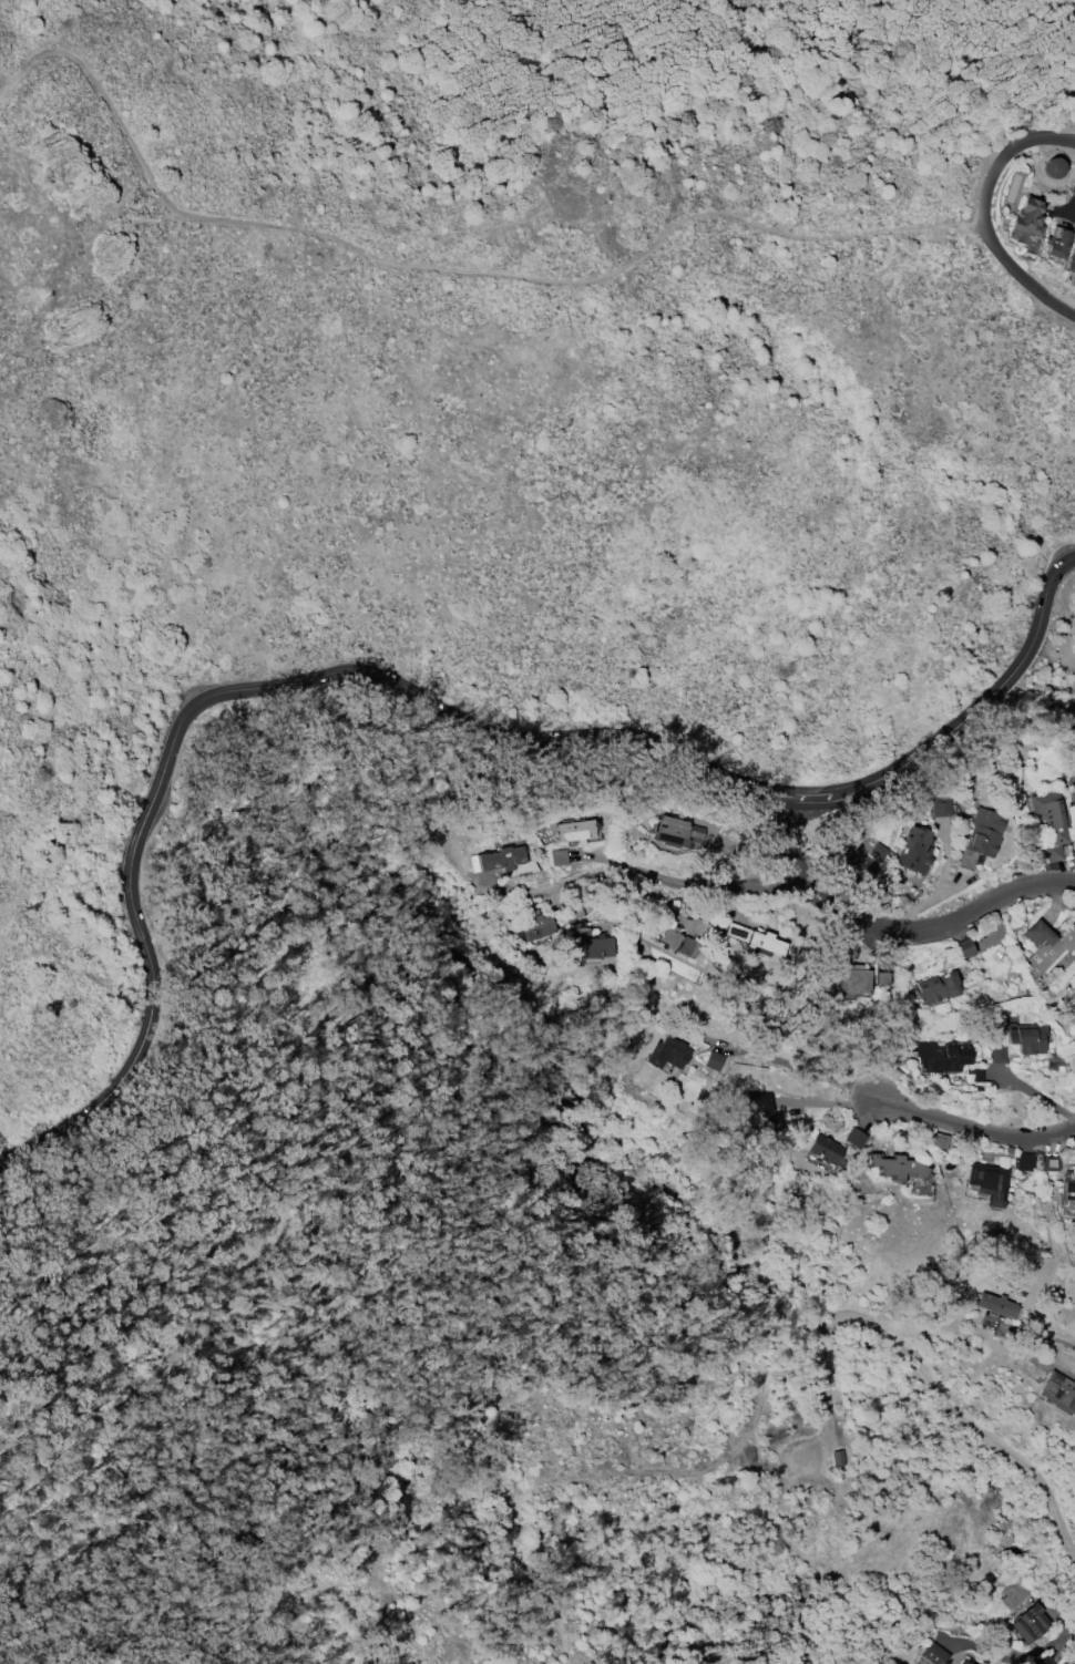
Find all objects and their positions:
road: (560, 21)
road: (7, 79)
road: (772, 92)
road: (999, 151)
building: (1054, 167)
road: (1065, 192)
building: (1026, 219)
building: (1057, 244)
building: (1071, 266)
road: (443, 269)
road: (1015, 280)
road: (423, 699)
building: (940, 808)
building: (1051, 822)
building: (575, 831)
building: (675, 832)
building: (982, 838)
building: (915, 850)
building: (878, 852)
building: (557, 856)
building: (501, 859)
building: (857, 863)
road: (642, 872)
building: (536, 927)
road: (891, 929)
building: (678, 936)
building: (752, 938)
building: (1048, 943)
building: (963, 948)
building: (590, 949)
building: (853, 978)
building: (881, 978)
building: (938, 987)
building: (1026, 1038)
building: (666, 1052)
building: (943, 1055)
building: (996, 1055)
building: (713, 1060)
road: (801, 1066)
building: (758, 1113)
road: (969, 1130)
building: (853, 1138)
building: (826, 1148)
building: (1022, 1162)
building: (1050, 1163)
building: (897, 1165)
building: (1069, 1175)
building: (989, 1182)
building: (995, 1305)
road: (1056, 1341)
road: (764, 1388)
building: (1058, 1393)
road: (209, 1604)
building: (1051, 1611)
building: (1028, 1623)
road: (1052, 1643)
building: (934, 1654)
building: (1043, 1661)
building: (1069, 1661)
building: (963, 1662)

